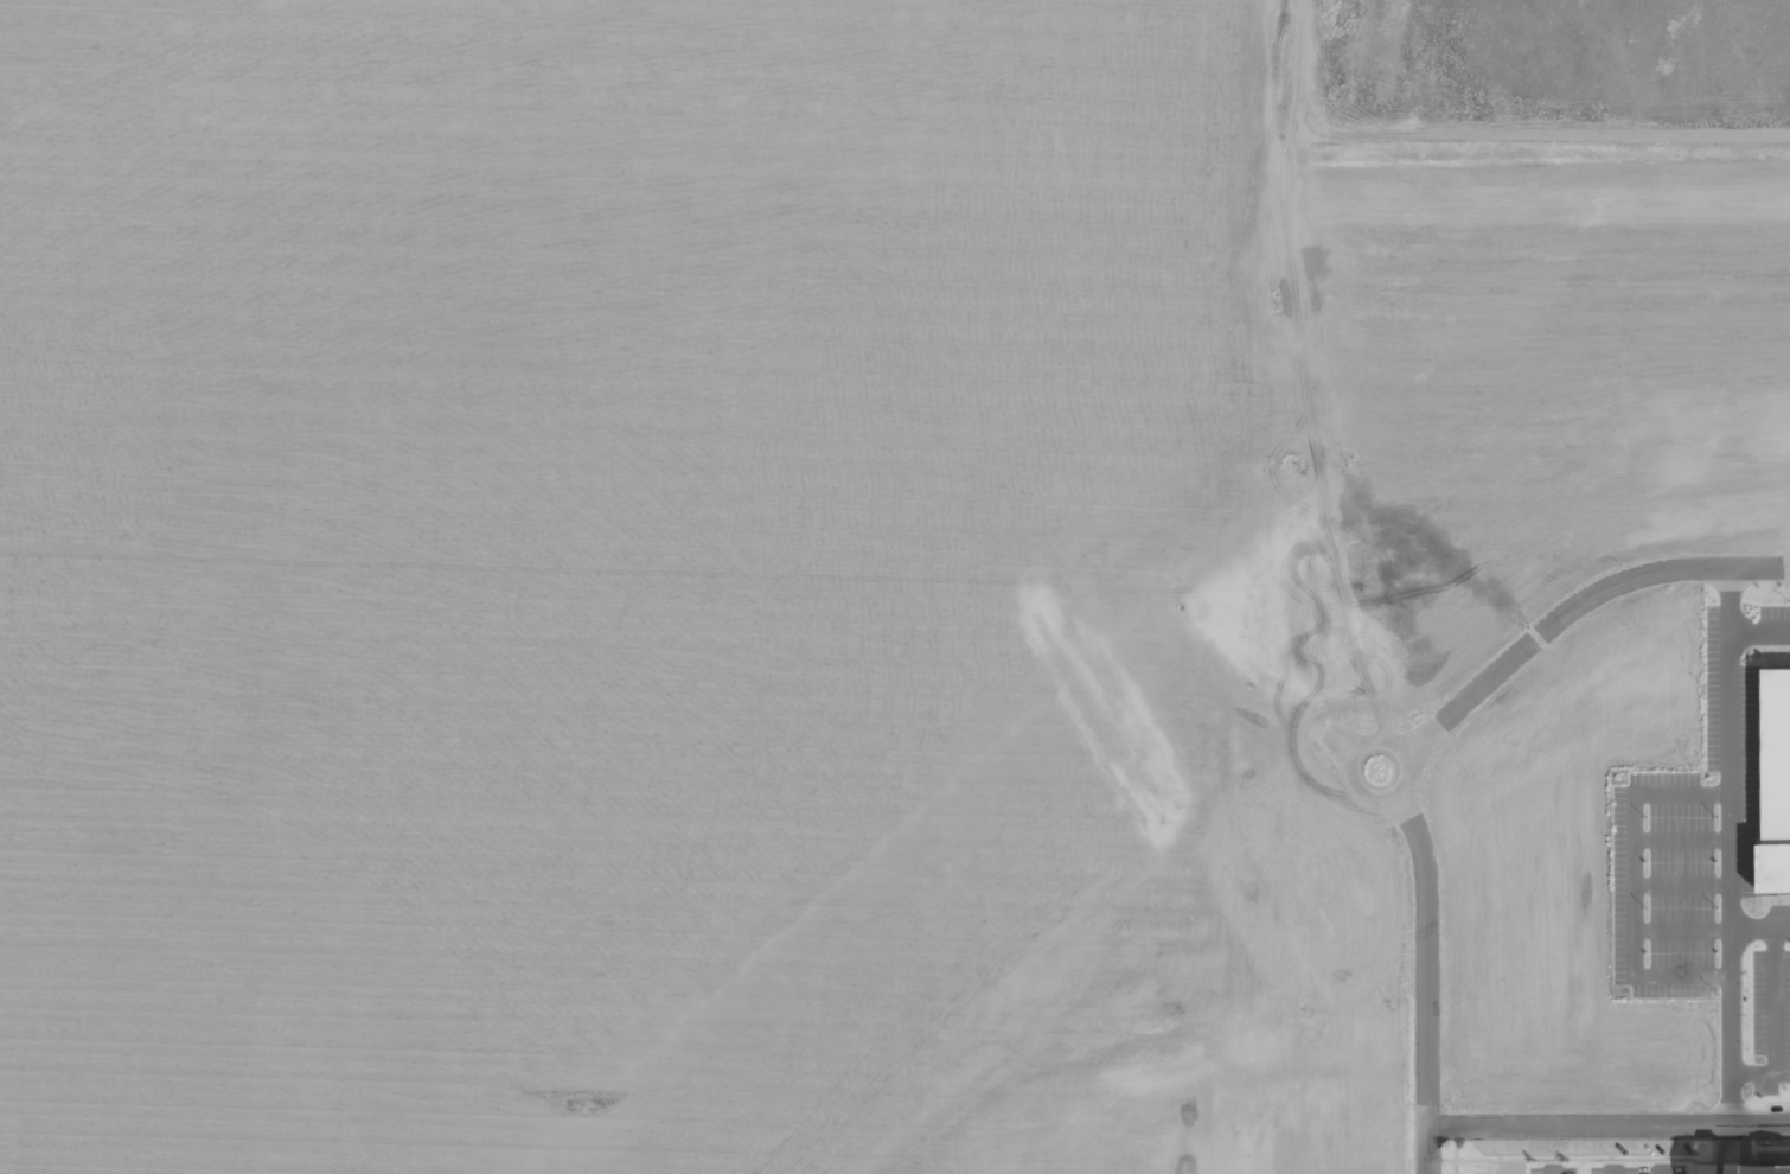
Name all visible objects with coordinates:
road: (1572, 606)
road: (1355, 773)
building: (1779, 790)
road: (1425, 978)
road: (1607, 1127)
building: (1749, 1168)
road: (1552, 1173)
road: (1612, 1173)
road: (1661, 1173)

